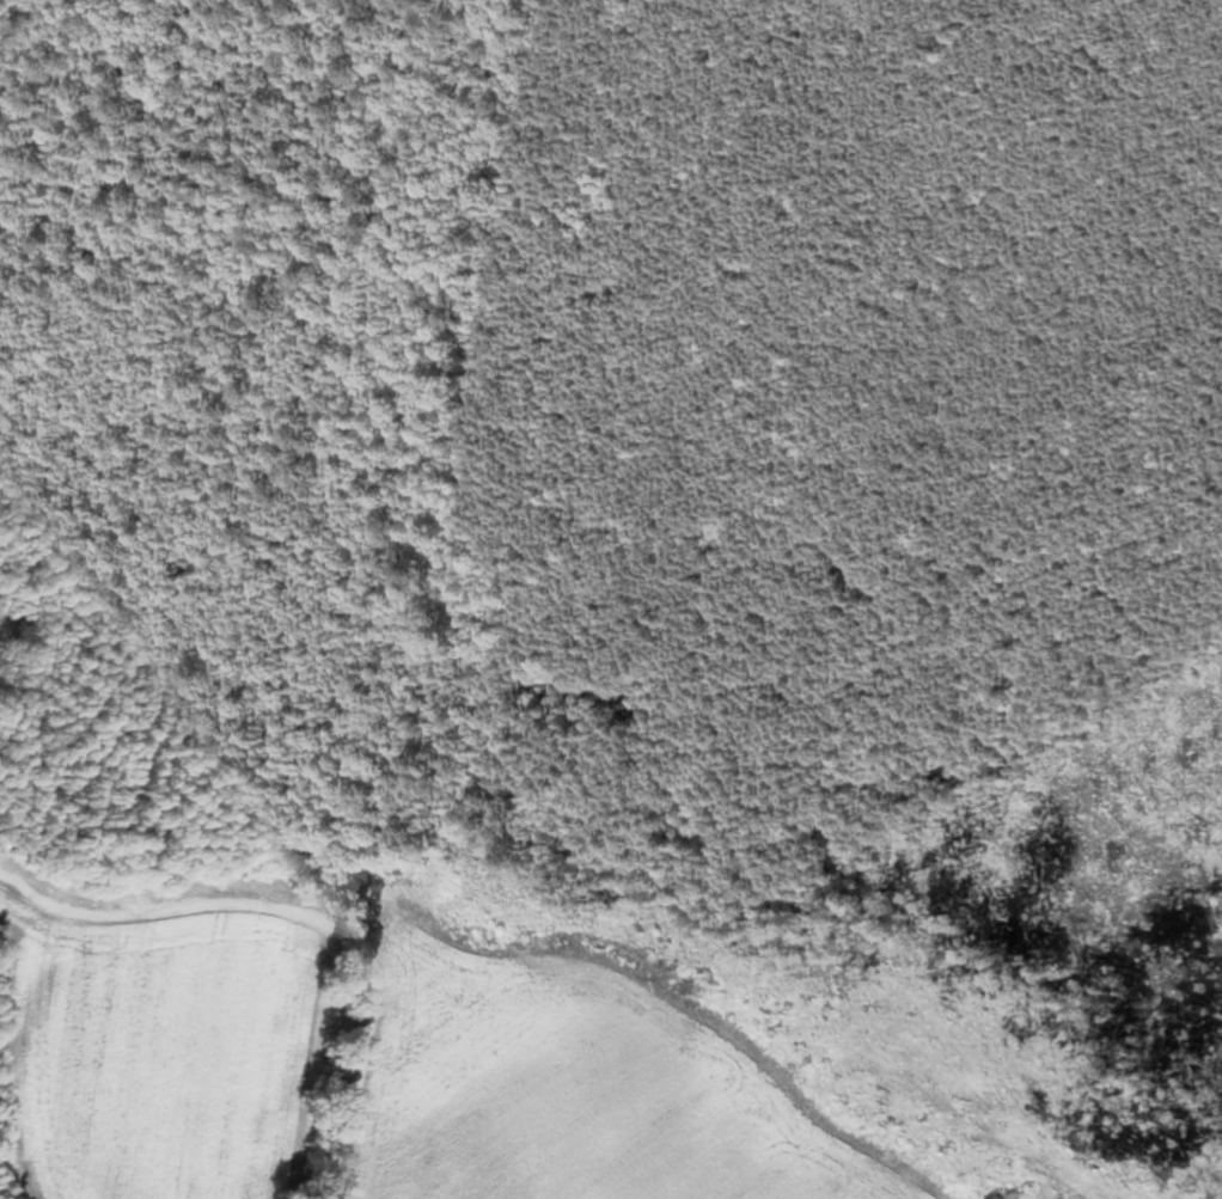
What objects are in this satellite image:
road: (314, 918)

